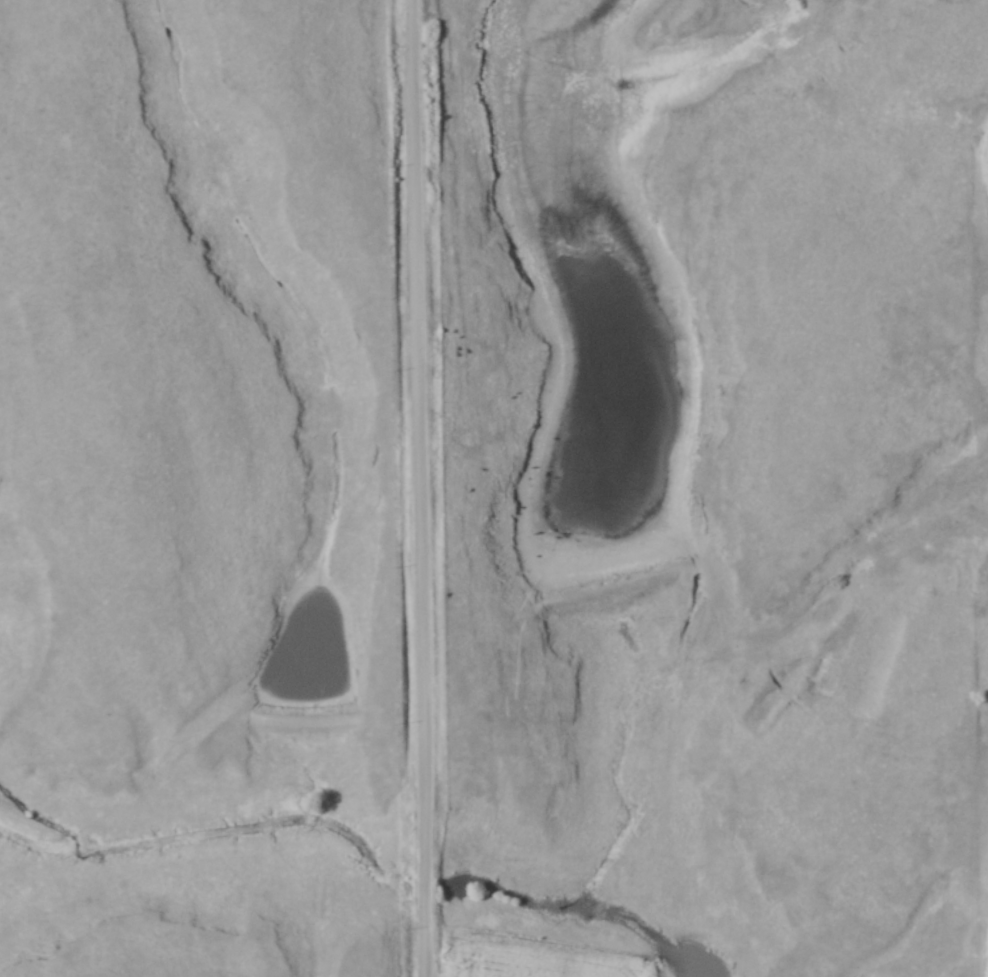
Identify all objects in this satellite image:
road: (423, 488)

